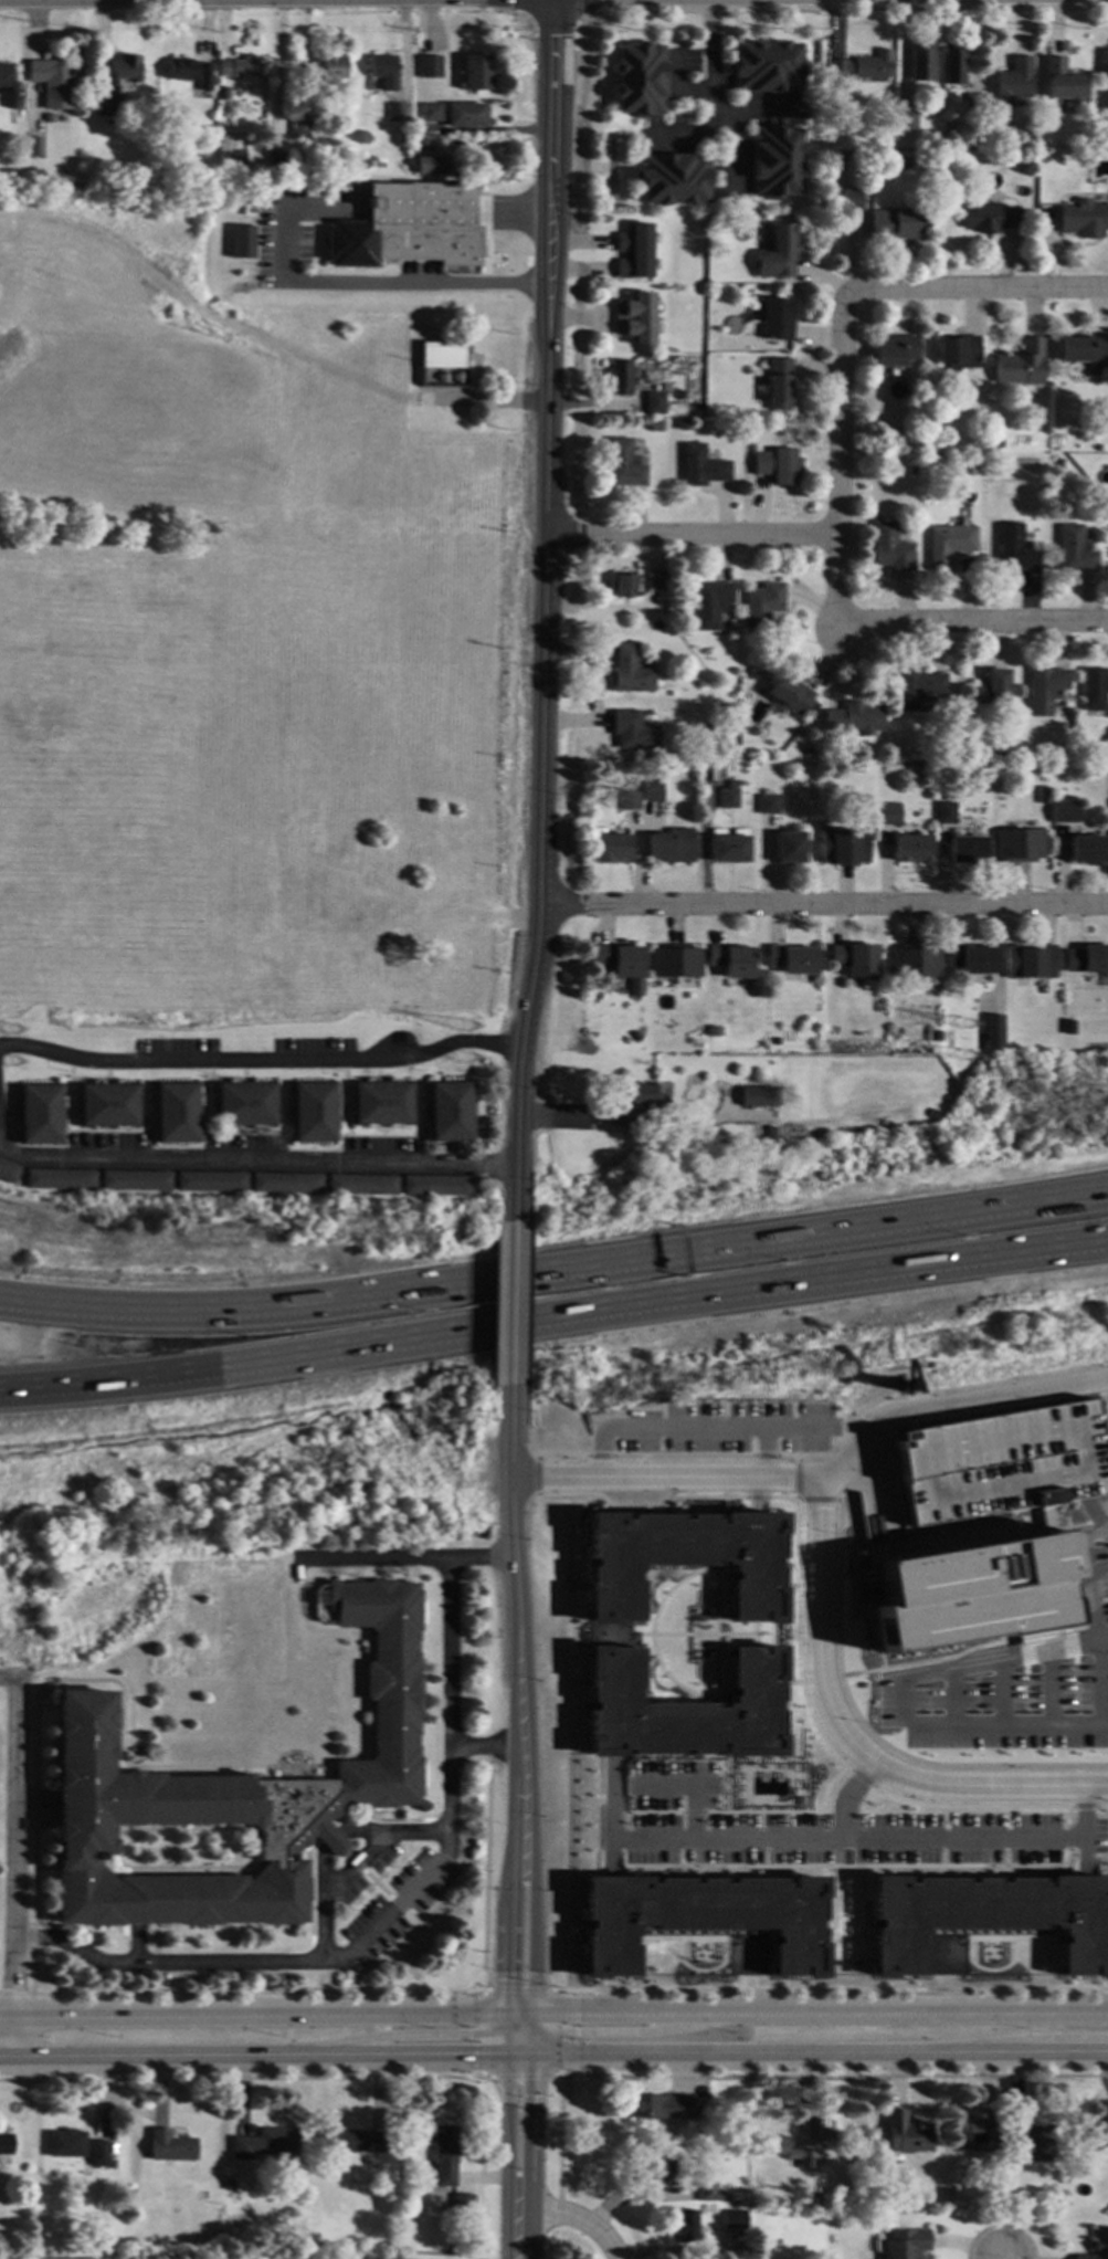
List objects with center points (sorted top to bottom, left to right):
building: (920, 62)
building: (1105, 63)
road: (279, 64)
building: (862, 66)
building: (953, 66)
building: (767, 67)
building: (241, 69)
building: (431, 69)
building: (125, 70)
building: (333, 70)
building: (384, 72)
building: (190, 73)
building: (476, 74)
building: (936, 74)
building: (6, 76)
building: (637, 80)
building: (1060, 81)
road: (683, 82)
building: (1013, 82)
building: (52, 85)
building: (371, 86)
building: (225, 94)
road: (713, 96)
building: (339, 97)
building: (973, 103)
building: (106, 104)
building: (344, 108)
building: (398, 114)
building: (432, 114)
building: (466, 115)
building: (48, 119)
road: (716, 120)
building: (906, 120)
building: (172, 128)
building: (401, 129)
building: (302, 132)
building: (422, 145)
building: (34, 148)
building: (824, 153)
building: (1027, 157)
building: (232, 160)
building: (276, 161)
building: (366, 162)
building: (775, 162)
building: (377, 165)
building: (433, 166)
building: (212, 175)
building: (948, 176)
building: (672, 180)
building: (850, 200)
building: (984, 217)
building: (1083, 220)
building: (896, 224)
building: (409, 228)
building: (242, 241)
building: (781, 250)
building: (634, 252)
road: (374, 283)
road: (977, 291)
building: (635, 318)
building: (775, 321)
building: (895, 350)
building: (959, 351)
building: (1083, 351)
building: (443, 355)
building: (1021, 366)
building: (451, 377)
building: (620, 378)
building: (778, 385)
building: (654, 403)
building: (682, 424)
building: (759, 424)
building: (654, 427)
road: (838, 456)
building: (938, 462)
building: (995, 462)
building: (623, 465)
building: (777, 466)
building: (701, 467)
building: (911, 471)
road: (692, 534)
building: (949, 545)
building: (891, 549)
building: (1016, 549)
building: (1075, 550)
building: (657, 581)
building: (623, 586)
building: (710, 605)
building: (762, 607)
road: (545, 610)
road: (973, 621)
building: (630, 673)
building: (701, 685)
building: (917, 689)
building: (1094, 690)
building: (1045, 691)
building: (992, 692)
building: (790, 696)
building: (729, 708)
building: (855, 719)
building: (705, 728)
building: (633, 732)
building: (1107, 746)
building: (809, 754)
building: (734, 786)
building: (653, 792)
building: (1044, 798)
building: (729, 799)
building: (631, 801)
building: (768, 806)
building: (1063, 812)
building: (946, 813)
building: (887, 815)
building: (1017, 845)
building: (673, 847)
building: (729, 847)
building: (844, 848)
building: (612, 849)
building: (789, 849)
building: (911, 849)
building: (1087, 850)
building: (967, 851)
road: (824, 904)
building: (854, 959)
building: (970, 959)
building: (730, 960)
building: (792, 960)
building: (1087, 960)
building: (675, 963)
building: (914, 963)
building: (1030, 963)
building: (623, 965)
building: (1068, 1028)
power tower: (10, 1029)
building: (714, 1032)
building: (992, 1033)
building: (636, 1037)
building: (932, 1037)
power tower: (469, 1038)
power tower: (967, 1039)
building: (775, 1042)
road: (261, 1059)
power tower: (472, 1064)
power tower: (971, 1064)
power tower: (10, 1067)
building: (759, 1096)
building: (633, 1102)
building: (382, 1104)
building: (789, 1104)
building: (245, 1105)
building: (108, 1106)
building: (450, 1112)
building: (177, 1113)
building: (313, 1113)
building: (40, 1115)
road: (643, 1141)
road: (254, 1156)
building: (8, 1173)
building: (60, 1179)
building: (135, 1181)
building: (210, 1183)
building: (286, 1184)
building: (361, 1185)
building: (436, 1186)
road: (555, 1264)
road: (513, 1302)
road: (553, 1320)
road: (951, 1405)
road: (722, 1426)
parking lot: (725, 1427)
road: (796, 1441)
road: (600, 1448)
road: (763, 1451)
road: (560, 1456)
road: (599, 1456)
road: (682, 1456)
road: (763, 1456)
road: (787, 1456)
building: (999, 1462)
parking garage: (999, 1462)
road: (537, 1477)
road: (664, 1477)
road: (796, 1479)
road: (756, 1489)
road: (755, 1498)
road: (781, 1498)
road: (815, 1498)
road: (639, 1507)
road: (756, 1507)
road: (1093, 1516)
road: (402, 1558)
building: (683, 1559)
road: (516, 1582)
building: (969, 1586)
road: (1094, 1616)
road: (1078, 1672)
parking lot: (1015, 1681)
road: (1025, 1683)
road: (1049, 1687)
road: (1001, 1691)
road: (1075, 1691)
road: (954, 1694)
road: (904, 1698)
road: (1025, 1700)
road: (1075, 1708)
building: (683, 1709)
road: (869, 1733)
road: (850, 1741)
road: (487, 1745)
road: (841, 1763)
road: (611, 1780)
road: (672, 1786)
road: (721, 1786)
building: (235, 1792)
road: (727, 1799)
road: (693, 1811)
road: (657, 1813)
road: (693, 1813)
road: (789, 1813)
parking lot: (824, 1830)
road: (752, 1837)
road: (989, 1838)
road: (611, 1845)
road: (511, 1846)
road: (1083, 1847)
road: (610, 1864)
road: (353, 1866)
road: (1084, 1867)
road: (13, 1868)
road: (532, 1894)
building: (988, 1916)
building: (701, 1917)
road: (380, 1920)
road: (508, 1963)
traffic signals: (508, 1980)
road: (587, 1990)
road: (521, 2011)
traffic signals: (576, 2011)
road: (821, 2011)
road: (254, 2014)
road: (508, 2022)
road: (534, 2022)
road: (524, 2025)
traffic signals: (576, 2032)
road: (646, 2032)
road: (389, 2035)
traffic signals: (468, 2035)
road: (518, 2042)
road: (507, 2045)
road: (534, 2045)
road: (820, 2053)
traffic signals: (474, 2057)
road: (520, 2057)
road: (253, 2059)
traffic signals: (532, 2095)
building: (658, 2104)
building: (823, 2130)
building: (906, 2132)
building: (975, 2133)
building: (1096, 2133)
building: (1044, 2139)
building: (356, 2140)
building: (65, 2142)
building: (265, 2142)
building: (6, 2143)
building: (169, 2145)
building: (792, 2151)
building: (98, 2152)
building: (444, 2153)
building: (1025, 2156)
road: (506, 2157)
road: (531, 2157)
building: (657, 2165)
building: (226, 2184)
building: (129, 2193)
building: (711, 2193)
building: (947, 2194)
building: (462, 2202)
building: (735, 2203)
building: (745, 2203)
road: (571, 2213)
building: (732, 2217)
building: (685, 2225)
building: (905, 2242)
building: (1097, 2245)

